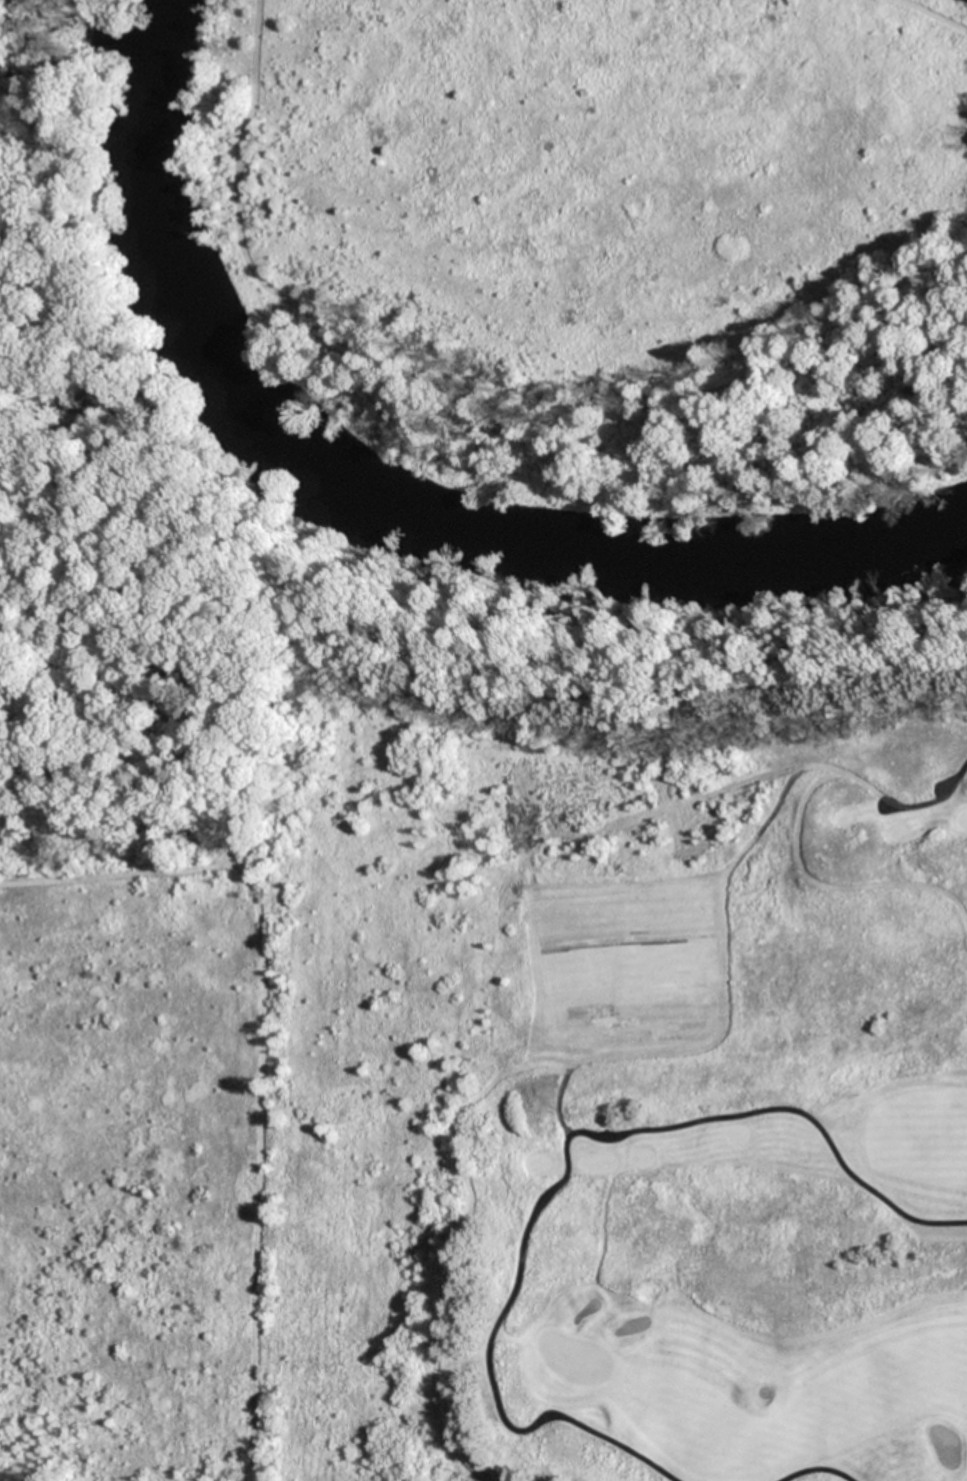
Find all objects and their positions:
river: (391, 503)
park: (617, 1031)
road: (564, 1164)
road: (816, 1467)

